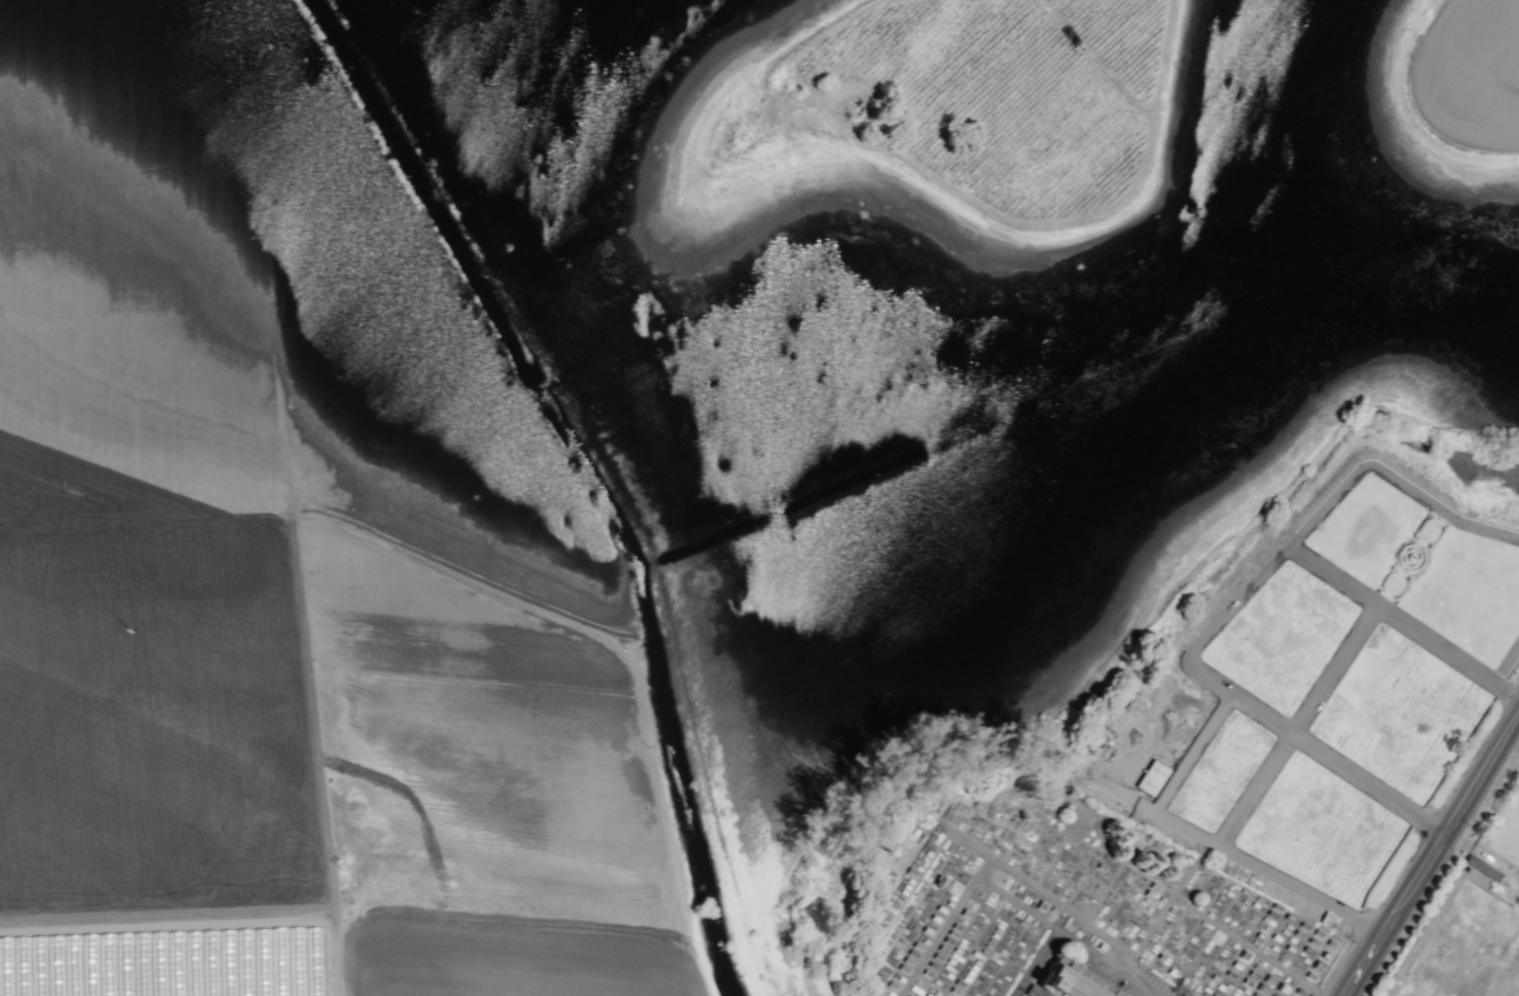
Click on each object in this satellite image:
crop: (649, 422)
park: (1320, 681)
building: (1151, 777)
crop: (779, 810)
crop: (1488, 815)
park: (1505, 832)
road: (1434, 860)
building: (1481, 867)
park: (1066, 901)
building: (1070, 981)

